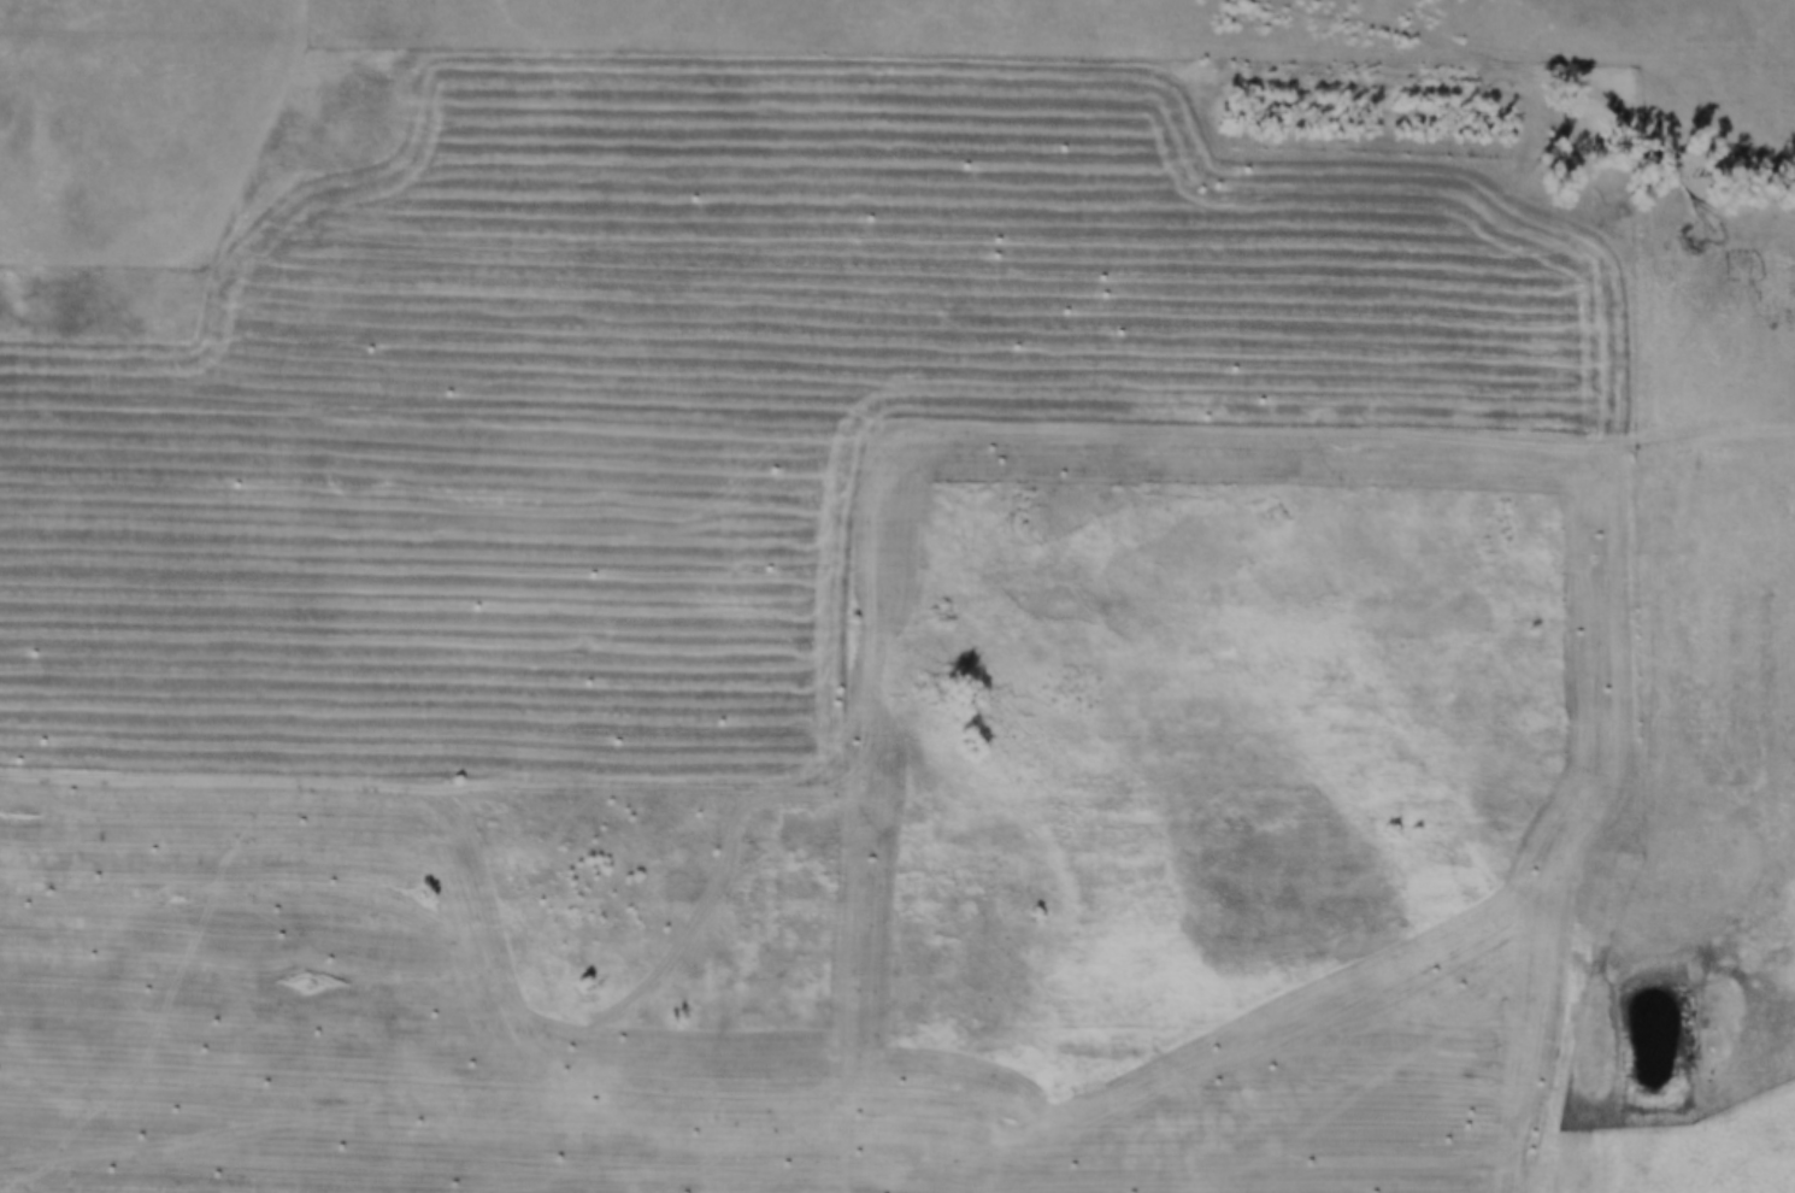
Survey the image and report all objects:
building: (1776, 293)

